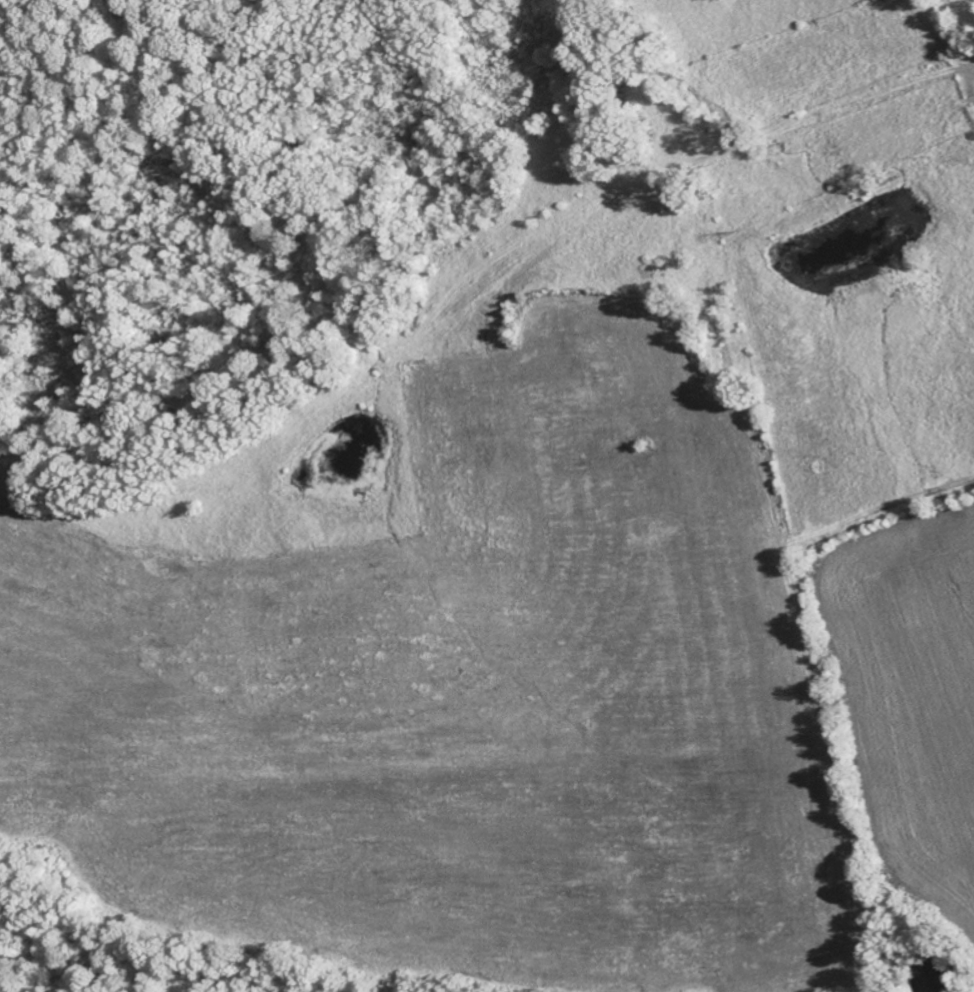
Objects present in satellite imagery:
road: (971, 78)
road: (644, 166)
road: (592, 219)

